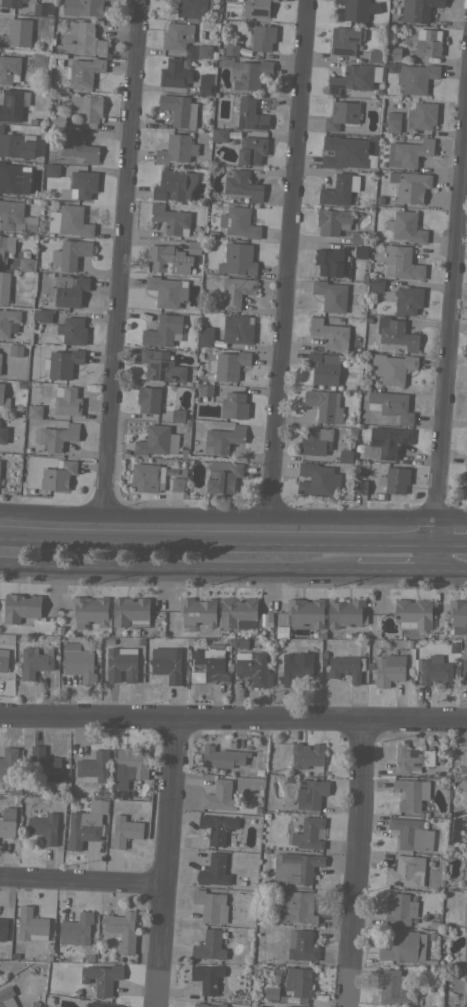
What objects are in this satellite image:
building: (14, 3)
building: (85, 7)
building: (42, 8)
building: (191, 8)
building: (257, 8)
building: (354, 9)
building: (418, 9)
building: (17, 33)
building: (177, 35)
building: (263, 37)
building: (86, 38)
rooftop solar panel: (350, 38)
building: (345, 39)
building: (60, 43)
building: (428, 43)
building: (220, 49)
building: (231, 49)
rooftop solar panel: (341, 50)
building: (202, 51)
building: (393, 52)
building: (375, 56)
building: (224, 61)
building: (40, 63)
building: (9, 69)
building: (83, 71)
building: (250, 73)
building: (174, 74)
rooftop solar panel: (348, 74)
building: (355, 77)
building: (415, 78)
building: (205, 84)
rooftop solar panel: (334, 87)
building: (216, 94)
building: (13, 104)
building: (85, 109)
building: (177, 109)
building: (250, 114)
building: (341, 114)
building: (422, 114)
building: (58, 119)
building: (396, 123)
building: (219, 134)
building: (16, 144)
building: (77, 146)
building: (176, 148)
building: (251, 150)
building: (344, 152)
building: (409, 152)
building: (52, 170)
building: (14, 178)
rooftop solar panel: (18, 179)
building: (83, 184)
building: (242, 184)
building: (174, 185)
building: (410, 186)
building: (339, 189)
rooftop solar panel: (9, 190)
building: (379, 199)
building: (42, 201)
building: (16, 217)
building: (171, 219)
building: (71, 220)
building: (333, 221)
building: (238, 222)
building: (405, 226)
building: (211, 234)
building: (357, 237)
building: (6, 246)
building: (194, 247)
building: (360, 251)
building: (70, 253)
road: (122, 258)
building: (169, 259)
building: (237, 259)
road: (290, 259)
building: (329, 262)
building: (401, 262)
building: (25, 264)
building: (377, 284)
building: (4, 287)
building: (70, 290)
building: (167, 291)
building: (234, 292)
building: (331, 295)
building: (407, 300)
building: (139, 302)
building: (42, 315)
building: (369, 318)
building: (8, 322)
road: (452, 322)
building: (237, 328)
building: (73, 330)
building: (163, 330)
building: (396, 333)
building: (330, 334)
building: (204, 336)
building: (15, 350)
building: (0, 360)
building: (62, 363)
building: (229, 365)
building: (161, 366)
building: (393, 367)
building: (324, 368)
building: (195, 385)
building: (205, 390)
building: (1, 395)
building: (149, 399)
building: (66, 400)
building: (234, 405)
building: (325, 405)
building: (391, 405)
building: (466, 409)
building: (34, 411)
building: (178, 415)
building: (3, 434)
rooftop solar panel: (327, 435)
building: (58, 436)
building: (223, 439)
building: (153, 440)
building: (315, 440)
building: (386, 442)
rooftop solar panel: (370, 452)
building: (345, 456)
building: (466, 456)
building: (182, 471)
building: (58, 475)
building: (223, 476)
building: (145, 477)
building: (465, 477)
building: (317, 479)
building: (397, 479)
rooftop solar panel: (383, 480)
building: (177, 485)
building: (361, 487)
building: (378, 496)
road: (218, 517)
road: (452, 518)
road: (437, 532)
road: (217, 544)
road: (451, 546)
road: (435, 557)
road: (395, 567)
road: (177, 568)
road: (451, 568)
building: (21, 606)
building: (89, 611)
building: (130, 611)
building: (198, 611)
building: (346, 612)
building: (414, 612)
building: (239, 613)
building: (305, 613)
building: (458, 616)
building: (3, 659)
building: (34, 662)
building: (207, 662)
building: (78, 663)
building: (121, 663)
building: (166, 663)
building: (464, 665)
building: (296, 666)
building: (252, 667)
building: (346, 667)
building: (389, 669)
building: (435, 670)
road: (233, 718)
building: (306, 755)
building: (222, 757)
building: (412, 759)
building: (131, 763)
building: (8, 764)
building: (44, 765)
building: (93, 767)
building: (310, 793)
building: (411, 793)
building: (220, 796)
building: (44, 827)
building: (217, 827)
building: (7, 828)
building: (83, 828)
building: (126, 829)
building: (310, 833)
building: (411, 834)
building: (466, 841)
road: (165, 845)
road: (354, 863)
building: (296, 867)
building: (214, 870)
building: (407, 871)
road: (80, 881)
building: (465, 881)
building: (211, 906)
building: (296, 907)
building: (400, 908)
building: (465, 913)
building: (31, 925)
building: (3, 928)
building: (76, 929)
building: (122, 929)
building: (209, 945)
building: (302, 945)
building: (405, 946)
building: (465, 948)
building: (207, 977)
building: (102, 978)
building: (298, 982)
building: (394, 988)
road: (156, 990)
building: (465, 992)
building: (271, 993)
building: (6, 996)
building: (97, 1005)
building: (209, 1005)
building: (291, 1006)

